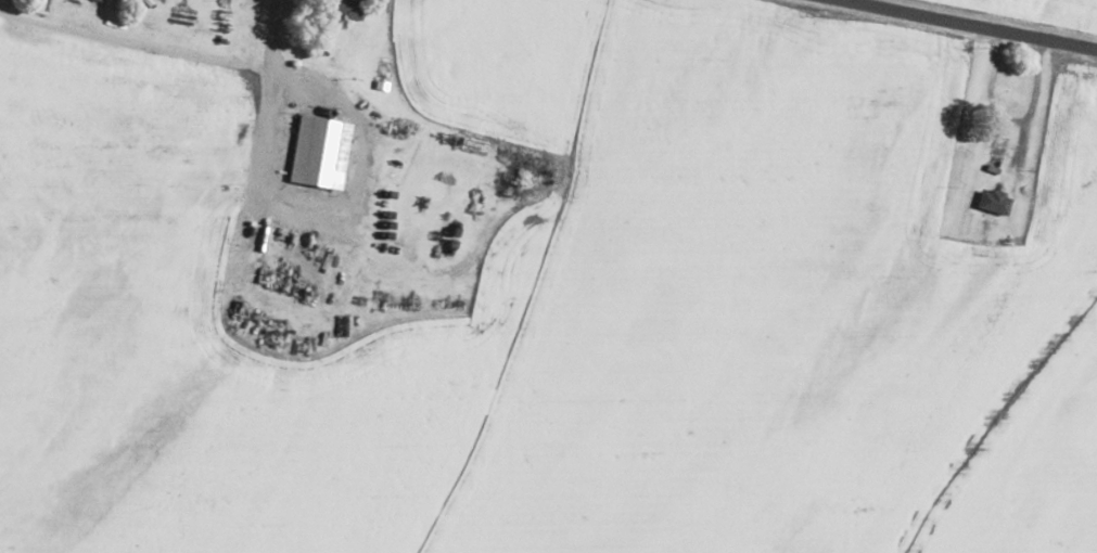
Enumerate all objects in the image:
building: (350, 9)
road: (968, 25)
road: (286, 68)
building: (323, 151)
building: (998, 202)

